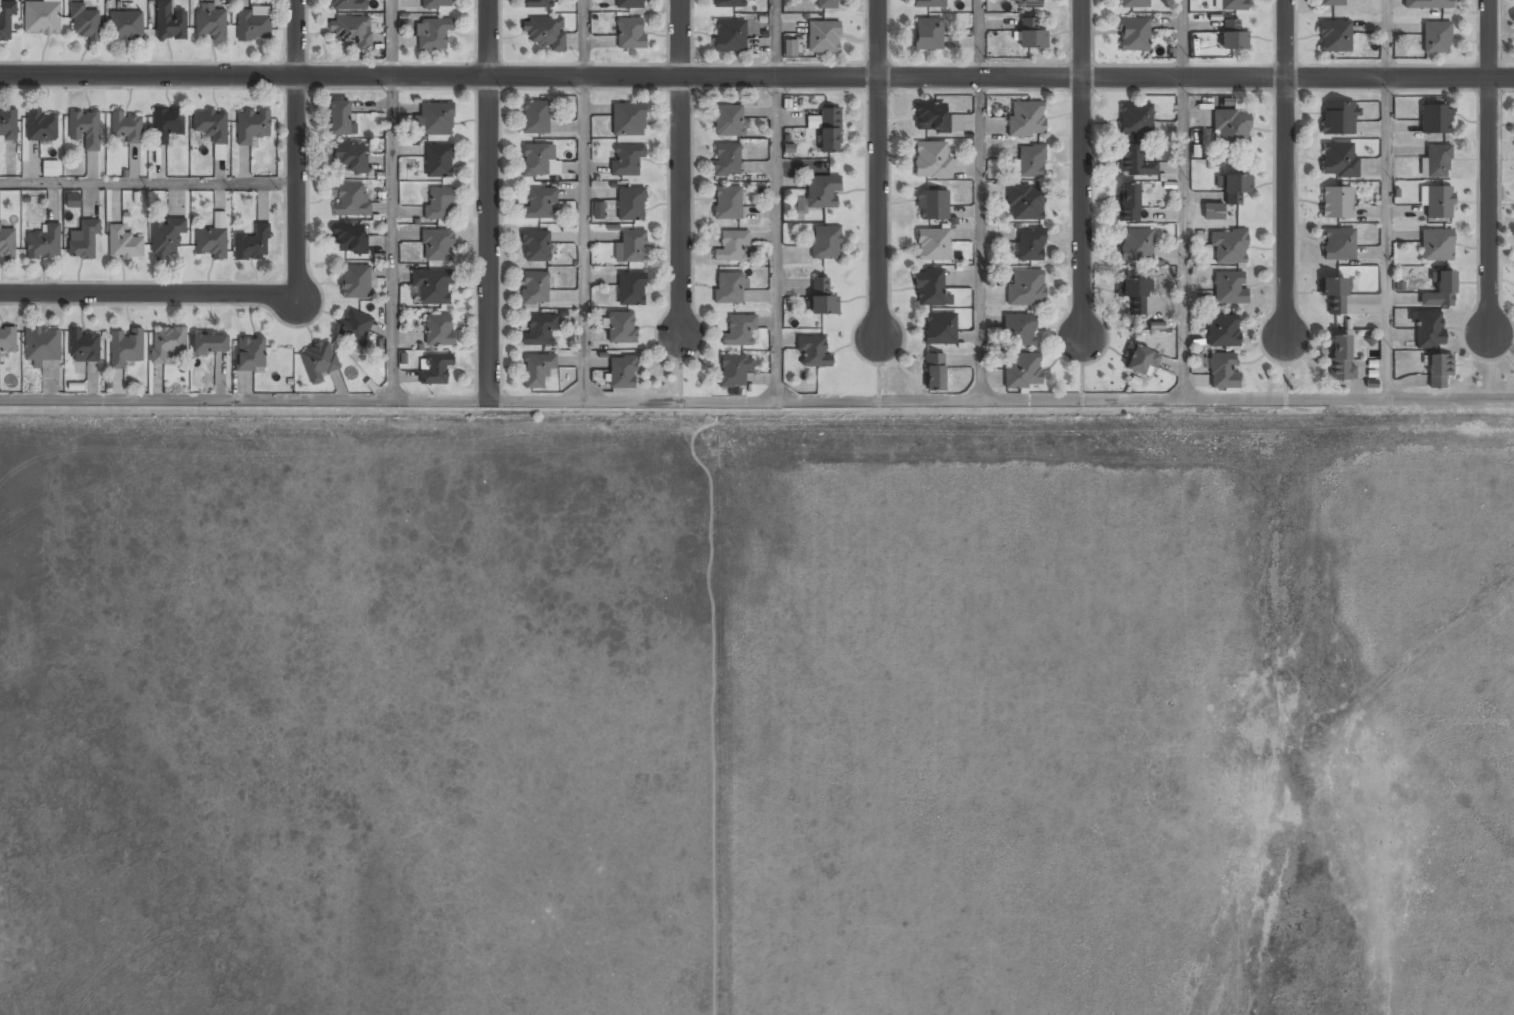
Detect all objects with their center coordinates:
building: (1331, 3)
building: (436, 4)
building: (538, 4)
building: (629, 4)
building: (729, 4)
building: (929, 4)
building: (1027, 4)
building: (1133, 4)
building: (1427, 4)
building: (348, 5)
building: (828, 5)
building: (1231, 5)
building: (41, 18)
building: (6, 21)
building: (169, 22)
building: (83, 23)
building: (210, 23)
building: (252, 25)
building: (126, 26)
building: (545, 32)
building: (352, 33)
building: (432, 34)
building: (630, 34)
building: (928, 35)
building: (1031, 35)
building: (1233, 35)
building: (729, 36)
building: (1132, 36)
building: (1334, 37)
road: (773, 38)
building: (823, 38)
road: (978, 38)
road: (1082, 38)
road: (1183, 38)
building: (1435, 38)
road: (584, 39)
road: (1384, 39)
building: (790, 47)
road: (757, 77)
building: (535, 117)
building: (340, 118)
building: (931, 118)
building: (1337, 119)
building: (434, 120)
building: (628, 120)
building: (1025, 120)
building: (1135, 120)
building: (1435, 120)
building: (728, 121)
building: (8, 125)
building: (167, 125)
building: (41, 126)
building: (210, 126)
building: (251, 126)
building: (125, 128)
building: (85, 129)
building: (1230, 129)
building: (829, 131)
road: (296, 147)
building: (219, 152)
building: (350, 159)
building: (536, 160)
building: (626, 160)
building: (931, 160)
building: (439, 161)
building: (726, 161)
building: (1338, 161)
building: (1031, 162)
building: (1436, 162)
building: (1134, 163)
road: (1487, 165)
building: (50, 168)
road: (680, 168)
road: (878, 168)
road: (1284, 169)
road: (148, 183)
building: (1235, 189)
building: (821, 193)
building: (73, 200)
building: (349, 200)
road: (391, 200)
road: (490, 200)
building: (727, 204)
building: (1025, 204)
building: (1129, 204)
building: (1336, 204)
building: (1437, 204)
building: (439, 205)
building: (539, 205)
building: (631, 205)
building: (931, 206)
road: (1083, 206)
building: (598, 210)
building: (1214, 211)
building: (166, 236)
road: (978, 237)
road: (1183, 237)
road: (775, 238)
road: (1385, 238)
building: (212, 239)
building: (348, 239)
road: (584, 239)
building: (84, 242)
building: (7, 243)
building: (44, 243)
building: (825, 243)
building: (124, 244)
building: (253, 244)
building: (438, 245)
building: (932, 245)
building: (1029, 245)
building: (1338, 245)
building: (1135, 246)
building: (1436, 246)
building: (535, 247)
building: (731, 247)
building: (630, 248)
building: (1228, 248)
building: (355, 283)
building: (432, 287)
building: (534, 288)
building: (1025, 288)
building: (728, 289)
building: (930, 289)
building: (1229, 289)
building: (631, 290)
building: (1440, 292)
road: (149, 293)
building: (1133, 295)
building: (1334, 295)
building: (822, 298)
building: (355, 329)
building: (620, 329)
building: (939, 330)
building: (1429, 330)
building: (439, 331)
building: (539, 331)
building: (1018, 331)
building: (1222, 331)
building: (739, 332)
building: (7, 340)
building: (167, 343)
building: (210, 343)
building: (42, 345)
building: (83, 347)
building: (125, 347)
building: (812, 353)
building: (251, 354)
building: (1340, 358)
building: (1141, 360)
building: (318, 363)
building: (434, 369)
building: (536, 370)
building: (1022, 371)
building: (1223, 371)
building: (732, 372)
building: (1438, 372)
building: (622, 373)
building: (934, 373)
road: (756, 399)

